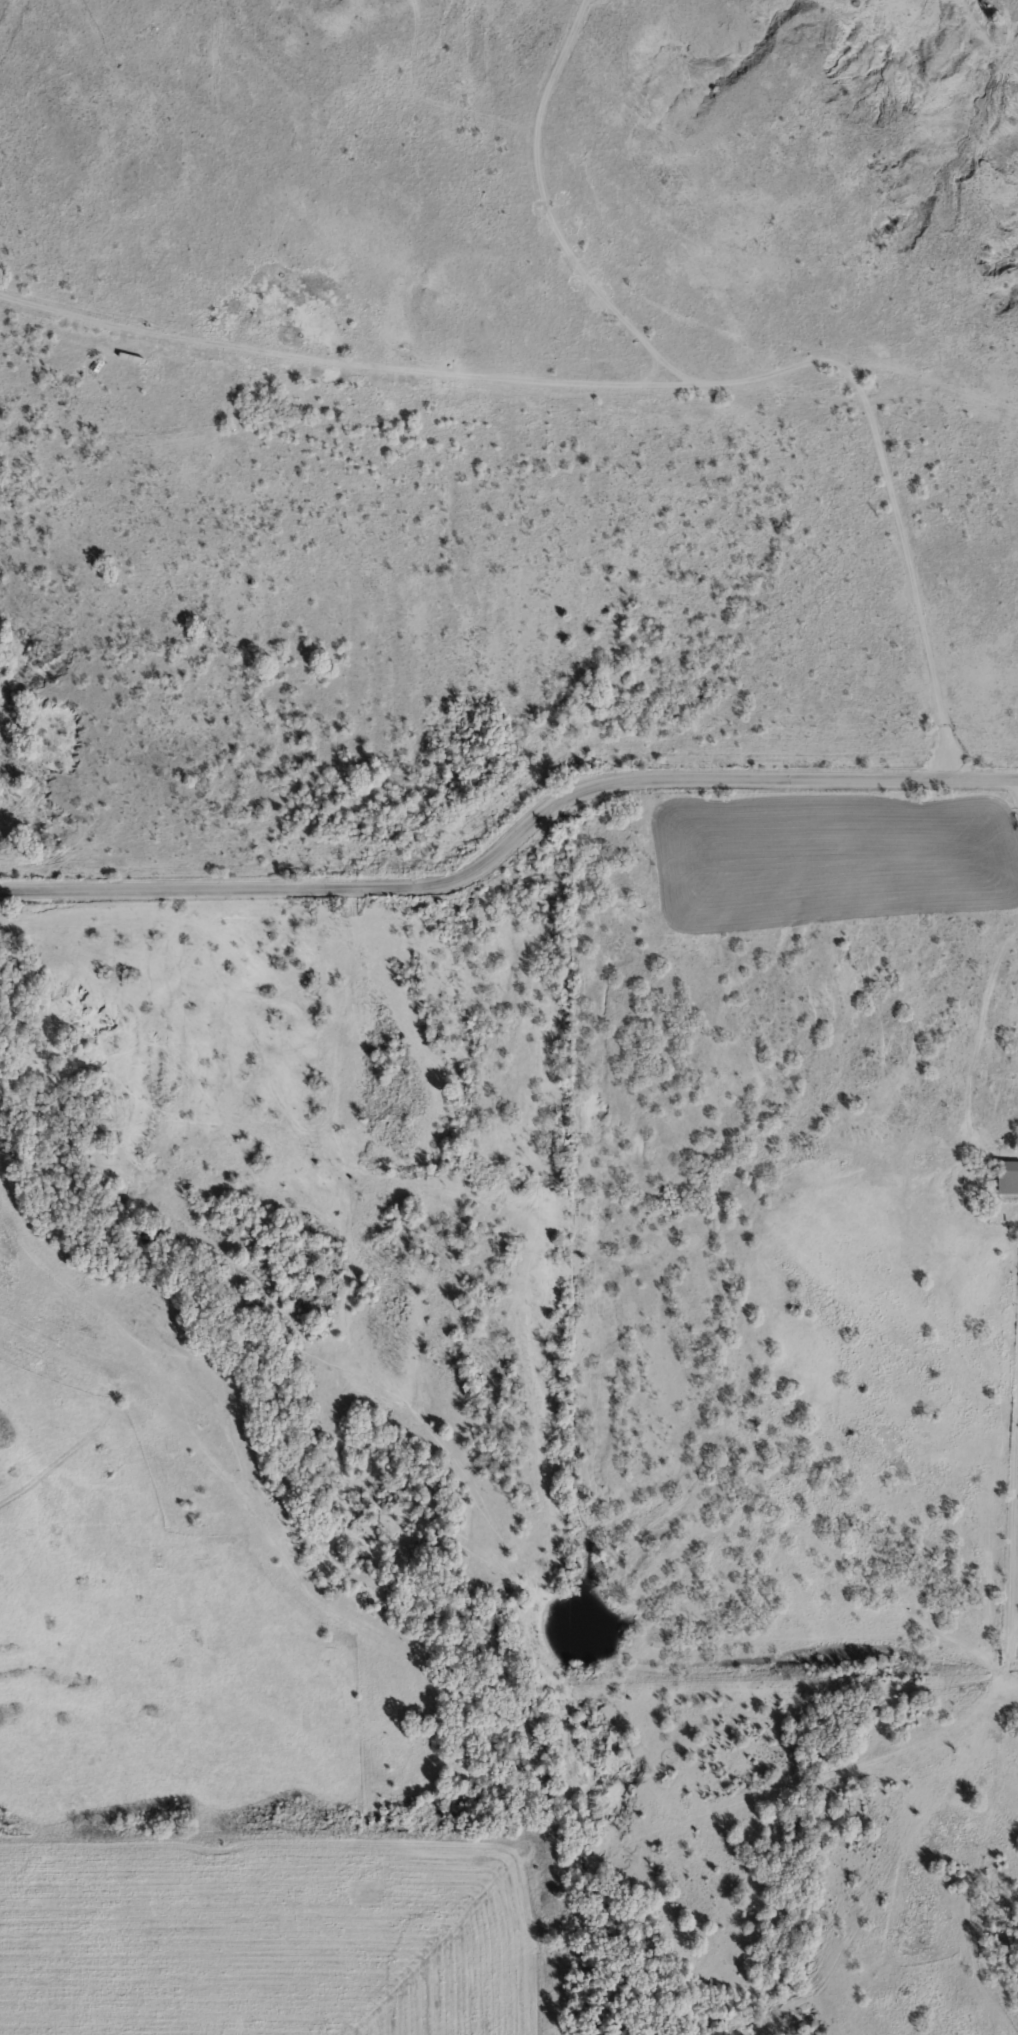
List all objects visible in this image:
road: (549, 213)
road: (633, 385)
road: (510, 839)
building: (1007, 1177)
road: (1012, 1518)

